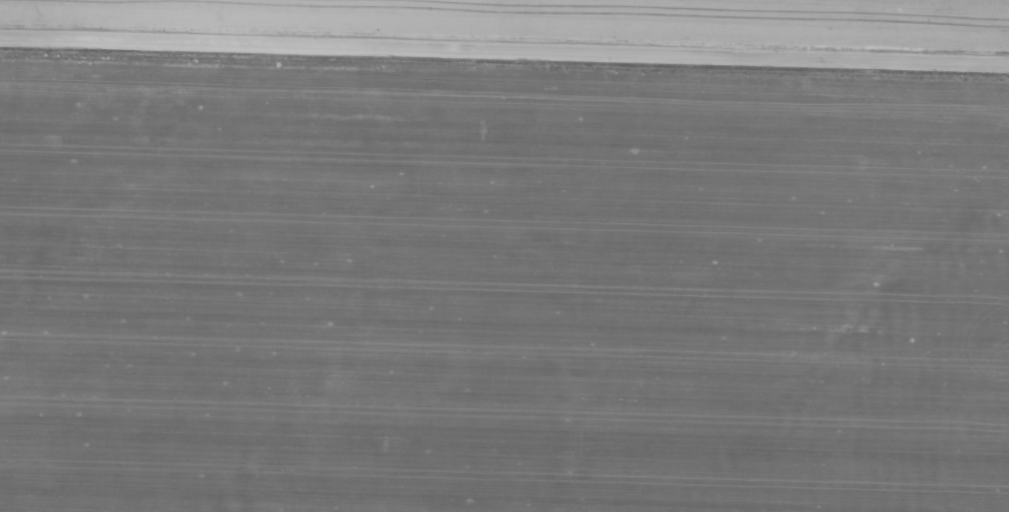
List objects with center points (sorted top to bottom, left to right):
road: (504, 45)

